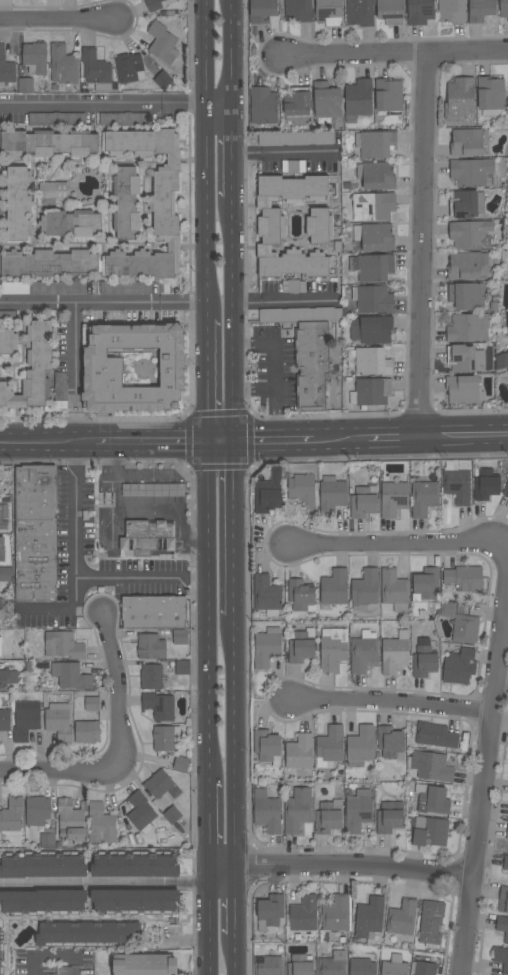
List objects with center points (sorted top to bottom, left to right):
building: (153, 5)
building: (503, 8)
building: (262, 10)
building: (298, 10)
building: (481, 10)
building: (452, 11)
building: (329, 12)
building: (360, 12)
building: (391, 12)
building: (420, 12)
road: (56, 19)
building: (162, 42)
road: (397, 51)
road: (233, 55)
building: (35, 58)
building: (63, 65)
building: (6, 67)
building: (129, 68)
building: (97, 70)
building: (163, 80)
building: (25, 85)
building: (490, 95)
building: (388, 97)
building: (358, 99)
building: (459, 99)
building: (327, 100)
road: (220, 102)
road: (103, 103)
building: (297, 104)
building: (263, 105)
building: (56, 119)
building: (125, 119)
building: (296, 138)
building: (466, 142)
building: (48, 143)
building: (377, 144)
road: (282, 150)
road: (233, 155)
road: (207, 158)
building: (293, 166)
building: (472, 172)
building: (377, 175)
building: (52, 192)
building: (126, 203)
building: (19, 204)
building: (151, 204)
building: (466, 204)
building: (373, 206)
building: (0, 207)
building: (71, 223)
building: (319, 226)
building: (271, 227)
building: (471, 234)
building: (375, 237)
road: (420, 242)
building: (48, 263)
building: (467, 265)
building: (372, 267)
building: (294, 286)
building: (58, 287)
building: (125, 287)
building: (467, 296)
road: (281, 298)
building: (373, 299)
road: (103, 304)
building: (300, 314)
building: (134, 316)
building: (2, 317)
road: (233, 319)
building: (507, 320)
building: (468, 328)
building: (371, 329)
building: (464, 358)
building: (89, 361)
building: (502, 361)
building: (372, 362)
building: (29, 365)
building: (312, 365)
road: (275, 369)
building: (507, 371)
road: (75, 372)
road: (206, 379)
building: (61, 386)
building: (507, 386)
building: (463, 389)
road: (254, 390)
building: (371, 392)
road: (462, 433)
road: (391, 435)
road: (340, 436)
road: (272, 438)
traffic signals: (206, 440)
road: (219, 440)
traffic signals: (233, 440)
road: (150, 441)
road: (47, 442)
building: (486, 484)
building: (457, 485)
building: (137, 490)
building: (174, 490)
building: (303, 491)
building: (506, 492)
building: (268, 494)
building: (332, 496)
building: (393, 498)
building: (424, 498)
building: (107, 500)
building: (364, 501)
building: (154, 509)
building: (3, 516)
road: (233, 526)
road: (112, 531)
building: (36, 533)
building: (147, 536)
road: (399, 543)
building: (2, 549)
building: (5, 574)
road: (76, 576)
building: (464, 578)
building: (425, 584)
building: (333, 589)
building: (365, 590)
building: (394, 590)
building: (266, 595)
building: (301, 595)
building: (5, 605)
building: (447, 609)
road: (67, 610)
road: (207, 610)
building: (154, 612)
building: (465, 629)
building: (180, 637)
building: (63, 645)
building: (0, 646)
building: (151, 646)
building: (301, 646)
building: (266, 649)
building: (333, 650)
building: (395, 653)
building: (364, 655)
building: (424, 659)
building: (459, 666)
building: (183, 667)
building: (71, 675)
building: (151, 677)
building: (7, 678)
road: (117, 694)
building: (92, 704)
building: (159, 706)
road: (390, 707)
building: (26, 719)
building: (5, 720)
building: (59, 722)
building: (87, 731)
building: (435, 735)
building: (163, 738)
road: (234, 740)
building: (390, 741)
building: (331, 744)
building: (361, 746)
building: (267, 747)
building: (299, 752)
road: (488, 759)
building: (181, 764)
building: (431, 766)
road: (54, 768)
building: (162, 785)
building: (433, 799)
building: (296, 809)
building: (37, 810)
building: (267, 811)
building: (358, 811)
building: (141, 812)
building: (11, 814)
building: (171, 814)
building: (328, 816)
building: (389, 817)
building: (507, 819)
building: (71, 821)
road: (208, 823)
building: (101, 824)
building: (429, 831)
building: (507, 833)
building: (47, 840)
building: (505, 862)
building: (43, 865)
building: (135, 865)
road: (342, 870)
road: (108, 884)
building: (503, 899)
road: (235, 900)
building: (134, 901)
building: (42, 902)
building: (270, 911)
building: (304, 913)
building: (336, 913)
building: (369, 919)
building: (401, 919)
road: (208, 920)
building: (431, 923)
building: (503, 926)
building: (87, 934)
building: (1, 947)
road: (234, 954)
building: (501, 957)
road: (54, 958)
building: (333, 964)
building: (145, 965)
building: (268, 965)
building: (300, 965)
building: (395, 966)
building: (362, 967)
building: (425, 968)

